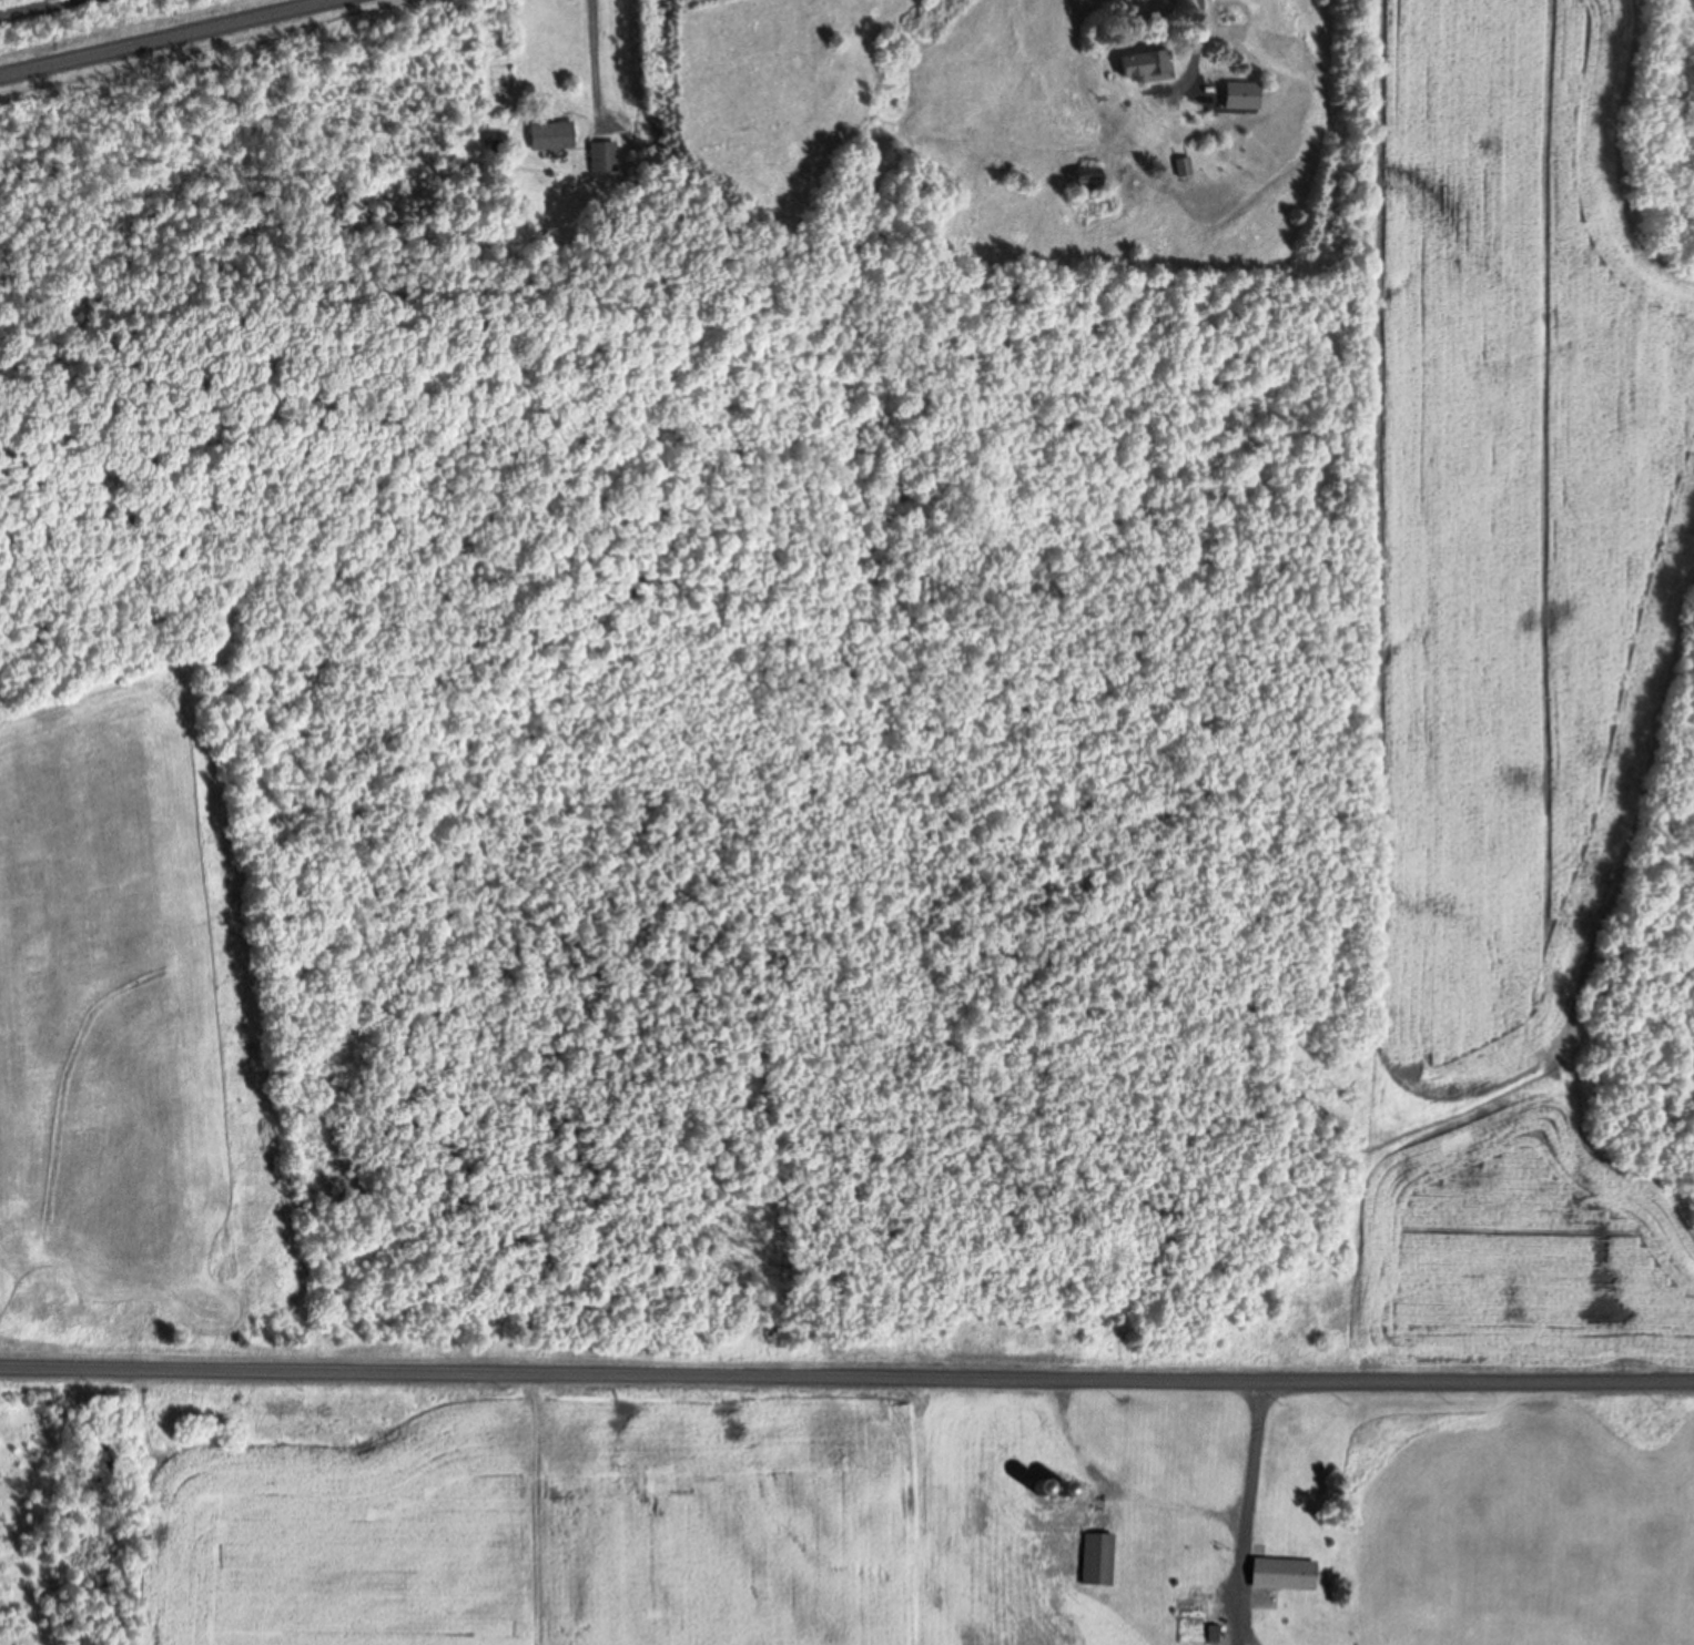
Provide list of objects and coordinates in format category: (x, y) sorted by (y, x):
road: (44, 10)
road: (161, 37)
building: (1147, 67)
building: (1242, 98)
building: (551, 140)
building: (606, 160)
road: (846, 1373)
crop: (528, 1512)
building: (1098, 1562)
building: (1284, 1576)

